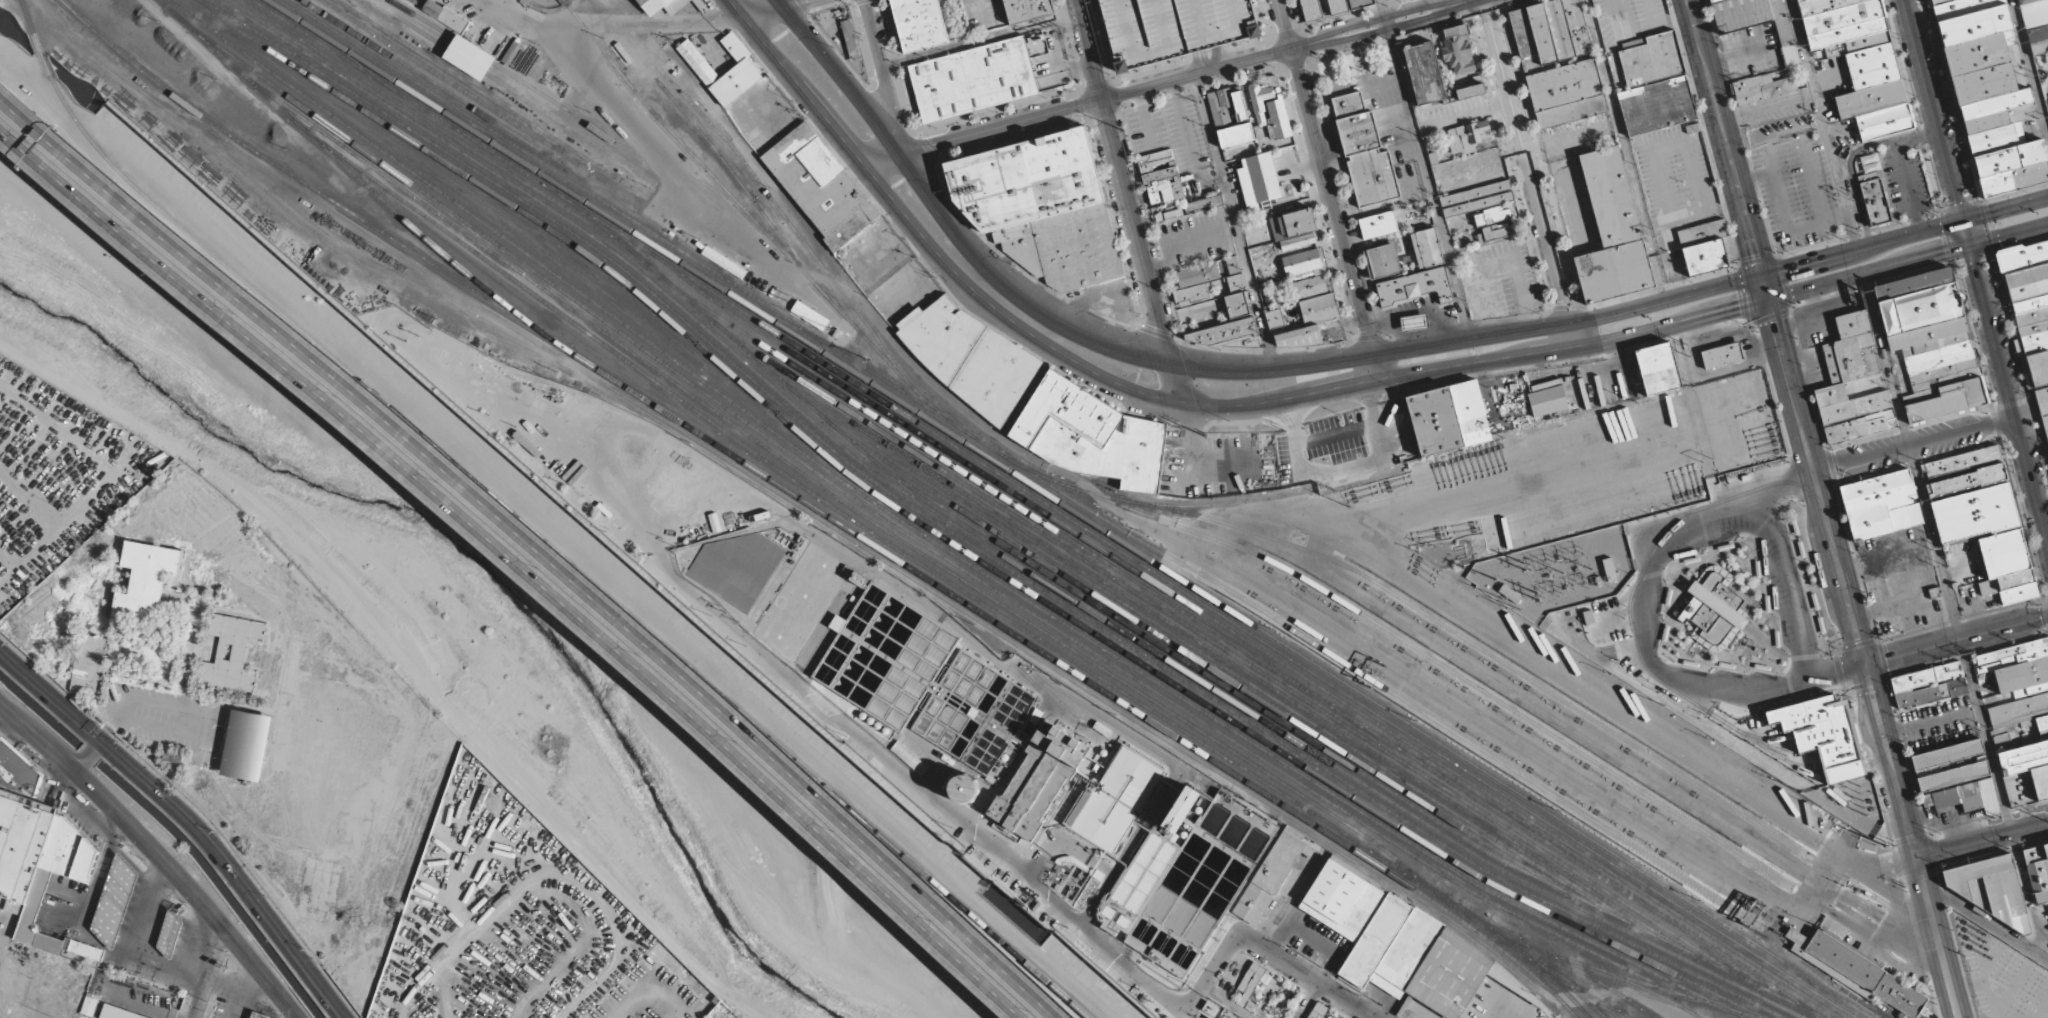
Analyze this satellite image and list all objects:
railway: (564, 0)
railway: (163, 1)
road: (776, 3)
building: (1359, 3)
building: (1946, 3)
building: (664, 5)
railway: (548, 6)
building: (702, 6)
building: (1337, 6)
railway: (215, 8)
road: (773, 8)
road: (734, 9)
building: (1029, 9)
building: (1311, 9)
road: (1208, 22)
building: (921, 23)
building: (2035, 23)
building: (1972, 25)
building: (1175, 27)
road: (1348, 33)
building: (1551, 33)
building: (1757, 38)
building: (1456, 49)
road: (1089, 50)
building: (1977, 53)
road: (1218, 56)
building: (473, 57)
building: (1645, 61)
building: (1859, 61)
road: (2030, 66)
building: (745, 69)
building: (1425, 73)
road: (883, 77)
building: (974, 78)
railway: (517, 79)
railway: (428, 80)
railway: (451, 82)
road: (1161, 84)
building: (1983, 84)
building: (1763, 88)
railway: (514, 91)
building: (1472, 91)
building: (1567, 94)
railway: (491, 98)
building: (1240, 105)
building: (1657, 106)
building: (1218, 107)
building: (1270, 109)
road: (1935, 110)
building: (1996, 111)
road: (983, 131)
railway: (310, 134)
building: (1235, 135)
building: (1469, 136)
road: (1723, 138)
building: (1994, 139)
building: (1364, 151)
railway: (509, 157)
building: (1433, 158)
building: (2009, 158)
building: (1158, 165)
building: (1869, 168)
road: (1530, 172)
building: (1258, 177)
building: (2013, 178)
railway: (718, 180)
building: (821, 185)
road: (1329, 189)
building: (1477, 198)
building: (1612, 198)
railway: (775, 202)
building: (1876, 202)
traffic signals: (1960, 202)
building: (1204, 203)
building: (1045, 207)
road: (2006, 209)
building: (1169, 211)
building: (1492, 214)
traffic signals: (1989, 214)
building: (1293, 223)
building: (1381, 223)
road: (946, 226)
building: (1498, 230)
railway: (608, 231)
road: (1967, 232)
road: (1137, 234)
road: (2009, 234)
building: (1297, 241)
railway: (402, 244)
building: (1704, 246)
building: (1427, 247)
road: (1862, 248)
railway: (524, 251)
traffic signals: (1942, 251)
traffic signals: (1755, 254)
railway: (696, 260)
building: (1381, 260)
building: (1301, 261)
building: (1232, 263)
railway: (527, 265)
traffic signals: (1977, 266)
traffic signals: (1788, 268)
road: (1869, 272)
building: (1616, 273)
building: (1197, 274)
railway: (531, 281)
building: (1236, 282)
building: (1912, 284)
building: (1306, 286)
building: (1391, 286)
road: (1764, 288)
building: (1191, 294)
railway: (503, 302)
building: (2028, 304)
building: (1237, 305)
building: (1418, 307)
building: (1319, 309)
traffic signals: (1738, 309)
building: (1919, 309)
railway: (566, 317)
building: (1274, 318)
road: (1700, 318)
road: (1568, 322)
traffic signals: (1773, 323)
railway: (789, 324)
building: (1223, 332)
building: (1926, 334)
building: (1298, 336)
railway: (1786, 349)
building: (1721, 355)
building: (970, 357)
building: (1939, 362)
building: (1659, 368)
road: (1274, 372)
building: (1844, 377)
road: (1114, 382)
railway: (912, 384)
road: (1180, 385)
road: (1790, 386)
road: (2009, 389)
building: (1548, 400)
building: (1943, 400)
building: (2043, 407)
building: (1449, 418)
building: (1374, 428)
building: (1090, 435)
railway: (847, 437)
road: (1914, 445)
railway: (864, 463)
building: (1962, 471)
parking lot: (58, 477)
road: (103, 479)
road: (1777, 486)
railway: (908, 490)
railway: (795, 494)
railway: (1240, 502)
building: (1880, 506)
railway: (1056, 508)
railway: (1071, 508)
road: (1736, 512)
road: (548, 513)
building: (1974, 514)
railway: (534, 528)
road: (542, 539)
railway: (955, 544)
railway: (984, 553)
building: (2003, 553)
road: (525, 554)
road: (1935, 554)
road: (1838, 568)
building: (1609, 569)
river: (487, 574)
road: (1766, 576)
railway: (1638, 580)
building: (146, 584)
road: (1790, 587)
building: (2017, 587)
road: (1648, 595)
building: (1712, 612)
building: (1820, 624)
railway: (1466, 639)
road: (1956, 640)
railway: (1253, 645)
railway: (1227, 647)
road: (405, 648)
railway: (1417, 650)
building: (231, 653)
railway: (1252, 654)
railway: (1213, 656)
railway: (1211, 662)
traffic signals: (1864, 665)
road: (1837, 672)
building: (1926, 676)
railway: (1124, 681)
building: (1957, 687)
road: (1751, 692)
railway: (1291, 697)
building: (1921, 697)
road: (142, 700)
railway: (1417, 707)
railway: (1896, 708)
building: (2021, 714)
parking lot: (154, 717)
parking lot: (0, 728)
road: (166, 729)
railway: (1815, 729)
building: (1823, 734)
road: (109, 736)
traffic signals: (99, 738)
railway: (1764, 738)
railway: (1818, 741)
building: (2004, 741)
road: (96, 742)
building: (247, 743)
park: (247, 743)
railway: (1886, 746)
railway: (1776, 749)
road: (87, 753)
building: (1947, 754)
building: (909, 757)
railway: (1212, 758)
railway: (1838, 760)
road: (1889, 762)
road: (79, 763)
railway: (1239, 763)
railway: (1802, 765)
traffic signals: (77, 766)
road: (897, 766)
railway: (1294, 769)
railway: (1844, 771)
building: (1952, 776)
railway: (1307, 787)
building: (1977, 796)
building: (1182, 798)
building: (1944, 798)
power substation: (1853, 804)
road: (1991, 816)
road: (189, 818)
railway: (1917, 831)
road: (1981, 841)
building: (41, 843)
railway: (1359, 848)
road: (158, 851)
building: (2037, 871)
road: (94, 886)
building: (1991, 891)
railway: (1572, 894)
road: (2026, 896)
road: (596, 900)
building: (106, 907)
gas station: (106, 907)
railway: (1744, 915)
road: (1984, 921)
road: (1935, 935)
road: (1238, 938)
building: (1796, 939)
road: (129, 947)
railway: (1669, 950)
park: (508, 965)
road: (429, 968)
railway: (1540, 969)
building: (1865, 973)
parking lot: (1999, 973)
road: (212, 974)
railway: (1614, 974)
railway: (1641, 982)
road: (237, 987)
railway: (1572, 989)
parking lot: (648, 990)
road: (652, 992)
road: (1309, 1001)
railway: (1598, 1001)
building: (91, 1002)
road: (1226, 1004)
building: (123, 1012)
road: (286, 1014)
road: (1954, 1015)
road: (1957, 1015)

